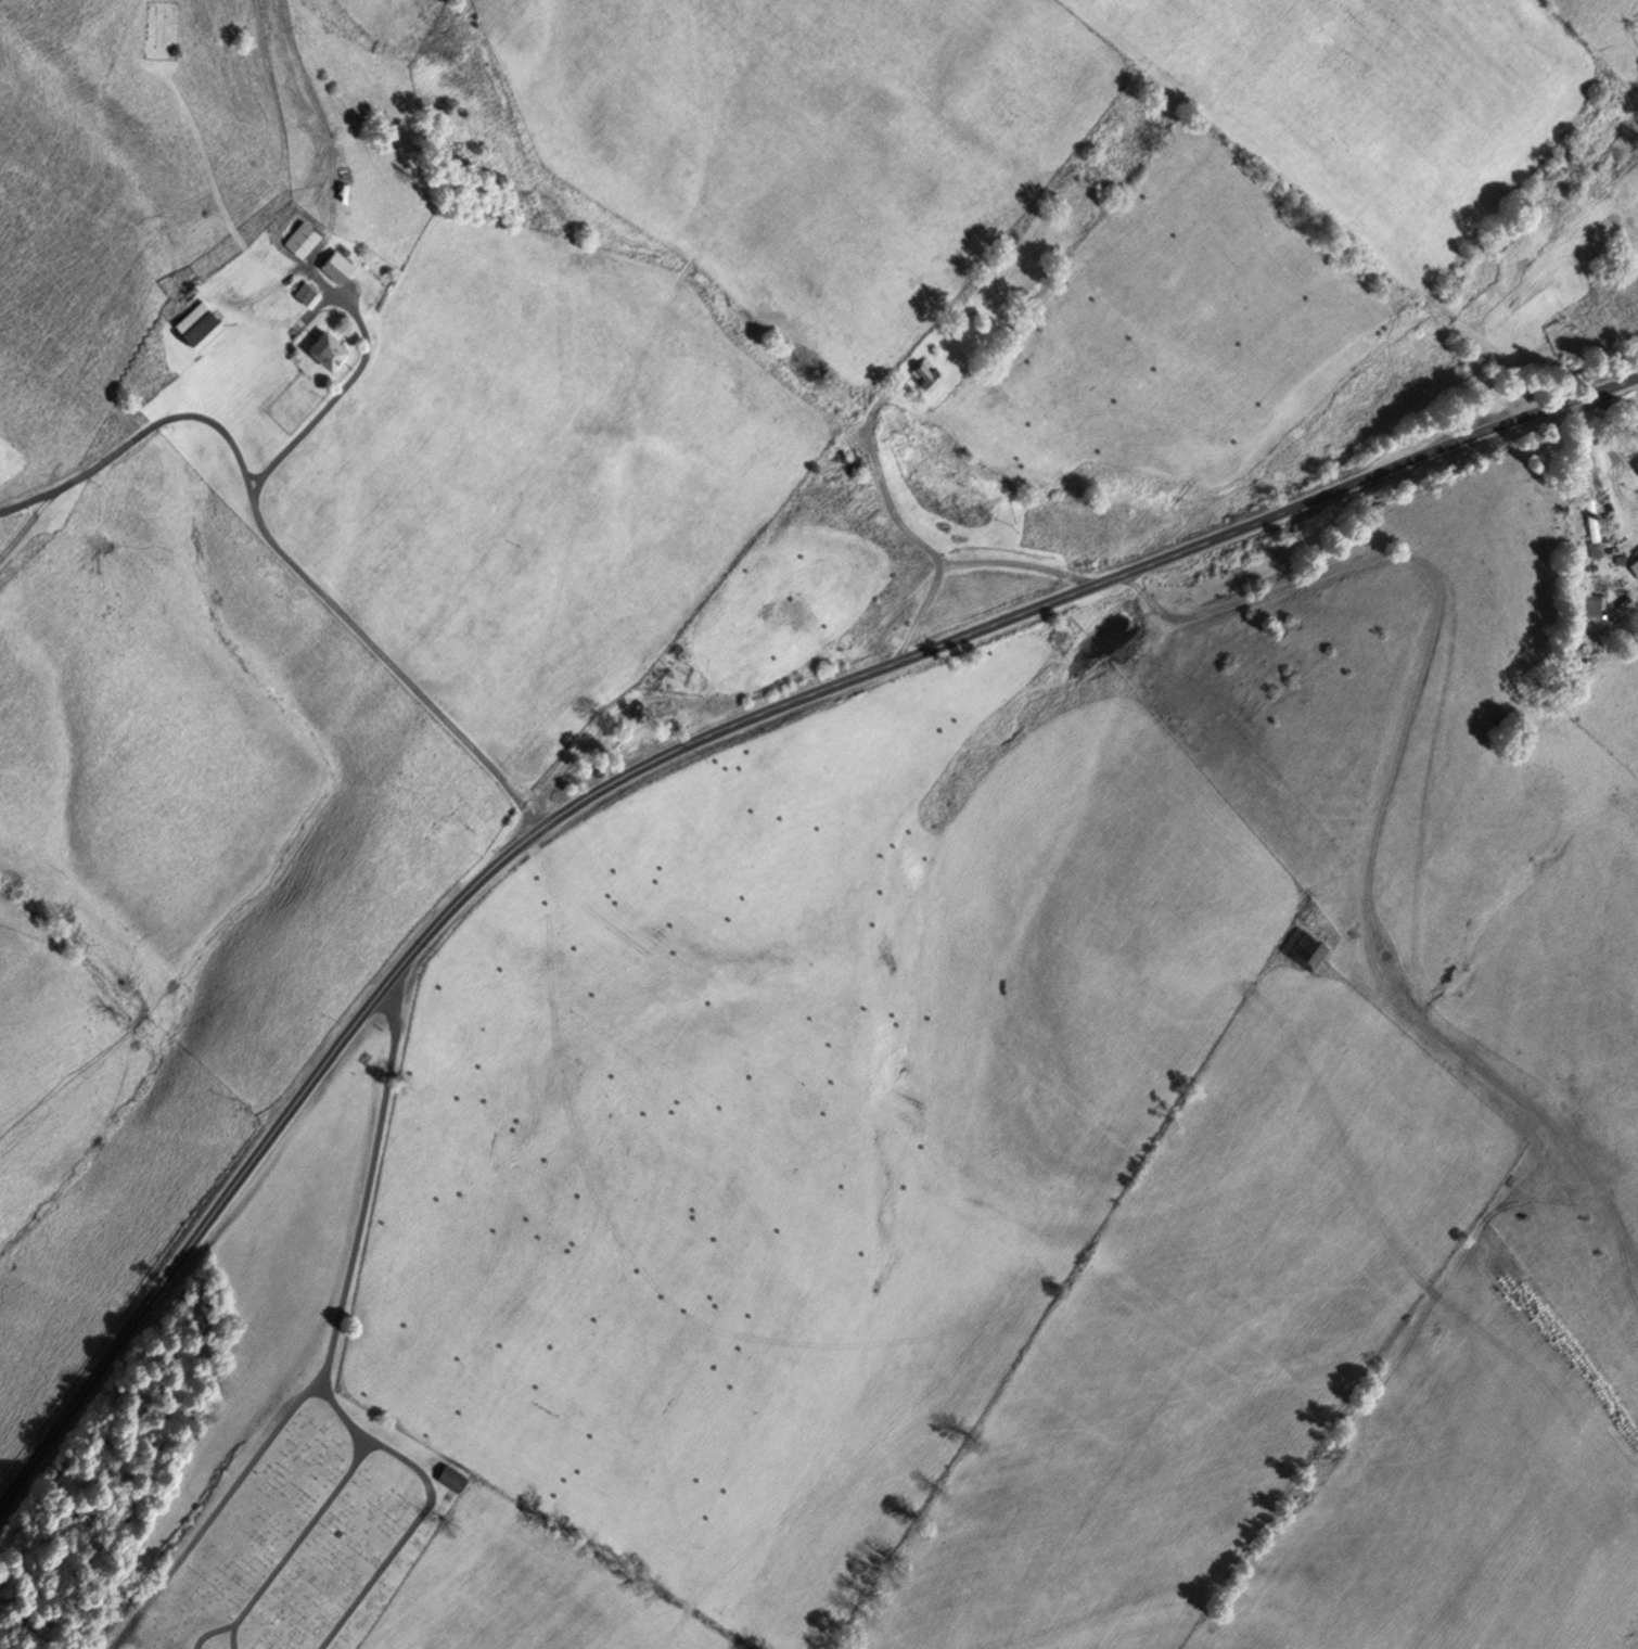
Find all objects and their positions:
road: (318, 116)
road: (217, 189)
building: (302, 239)
building: (334, 264)
building: (306, 292)
building: (196, 323)
building: (324, 347)
road: (359, 367)
building: (925, 372)
road: (1616, 410)
road: (120, 444)
building: (848, 461)
road: (24, 503)
road: (901, 529)
building: (1598, 534)
road: (1166, 555)
building: (1621, 560)
building: (1635, 564)
building: (1591, 604)
road: (386, 659)
road: (1384, 791)
building: (1303, 950)
road: (308, 1084)
crop: (798, 1118)
crop: (1203, 1338)
road: (332, 1347)
building: (451, 1479)
crop: (1458, 1490)
road: (426, 1509)
road: (297, 1541)
crop: (519, 1592)
road: (212, 1634)

